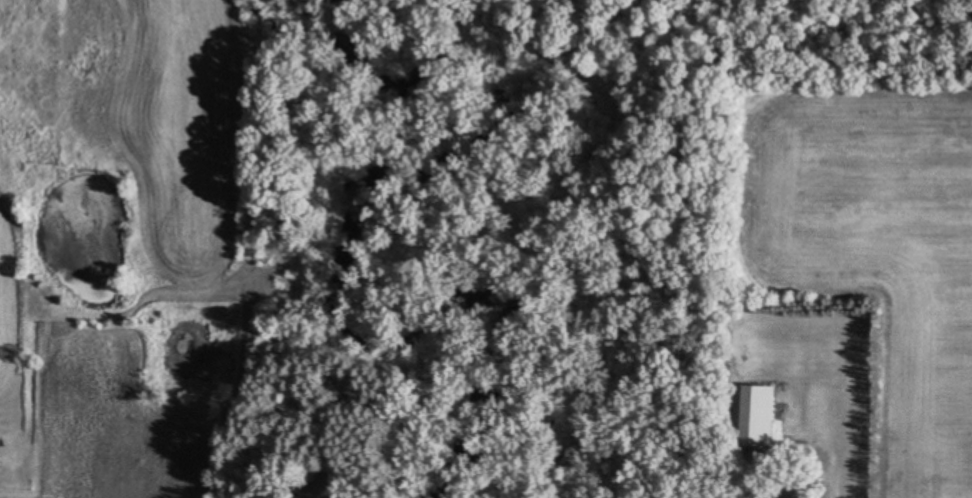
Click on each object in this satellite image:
crop: (124, 202)
crop: (862, 237)
building: (763, 415)
building: (1, 457)

